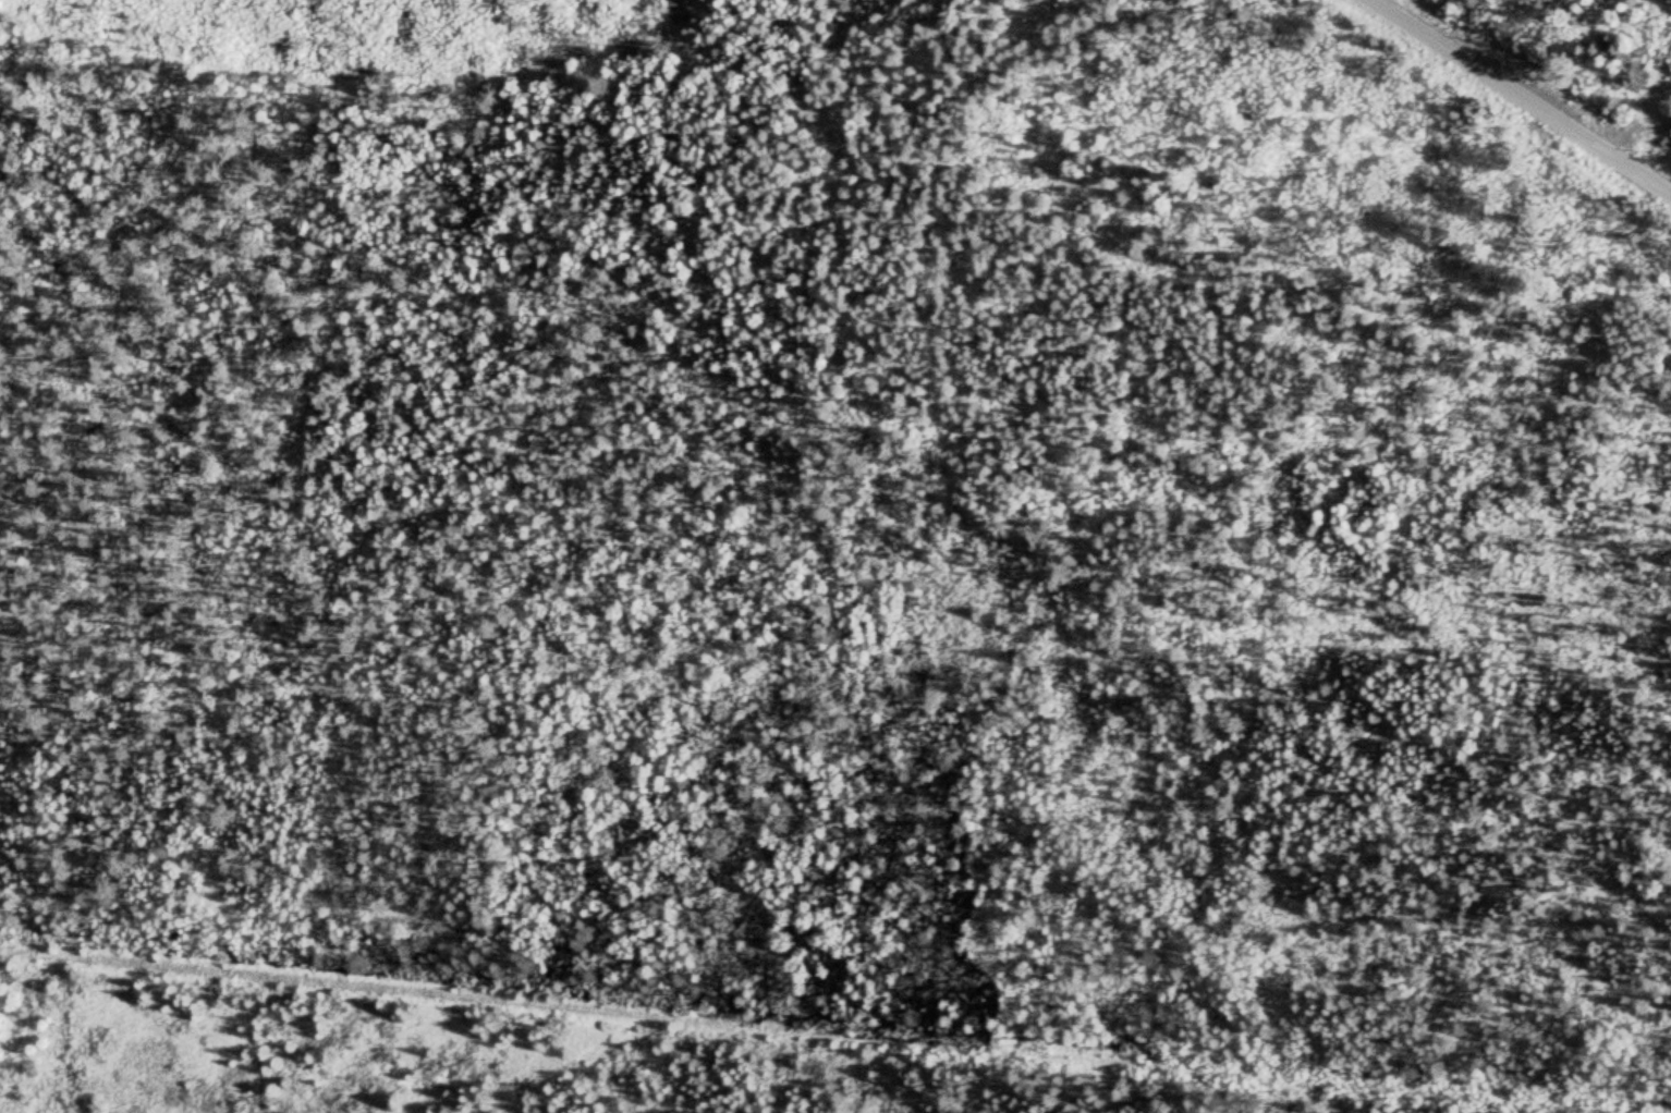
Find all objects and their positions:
road: (1525, 94)
railway: (817, 1028)
building: (1416, 1093)

